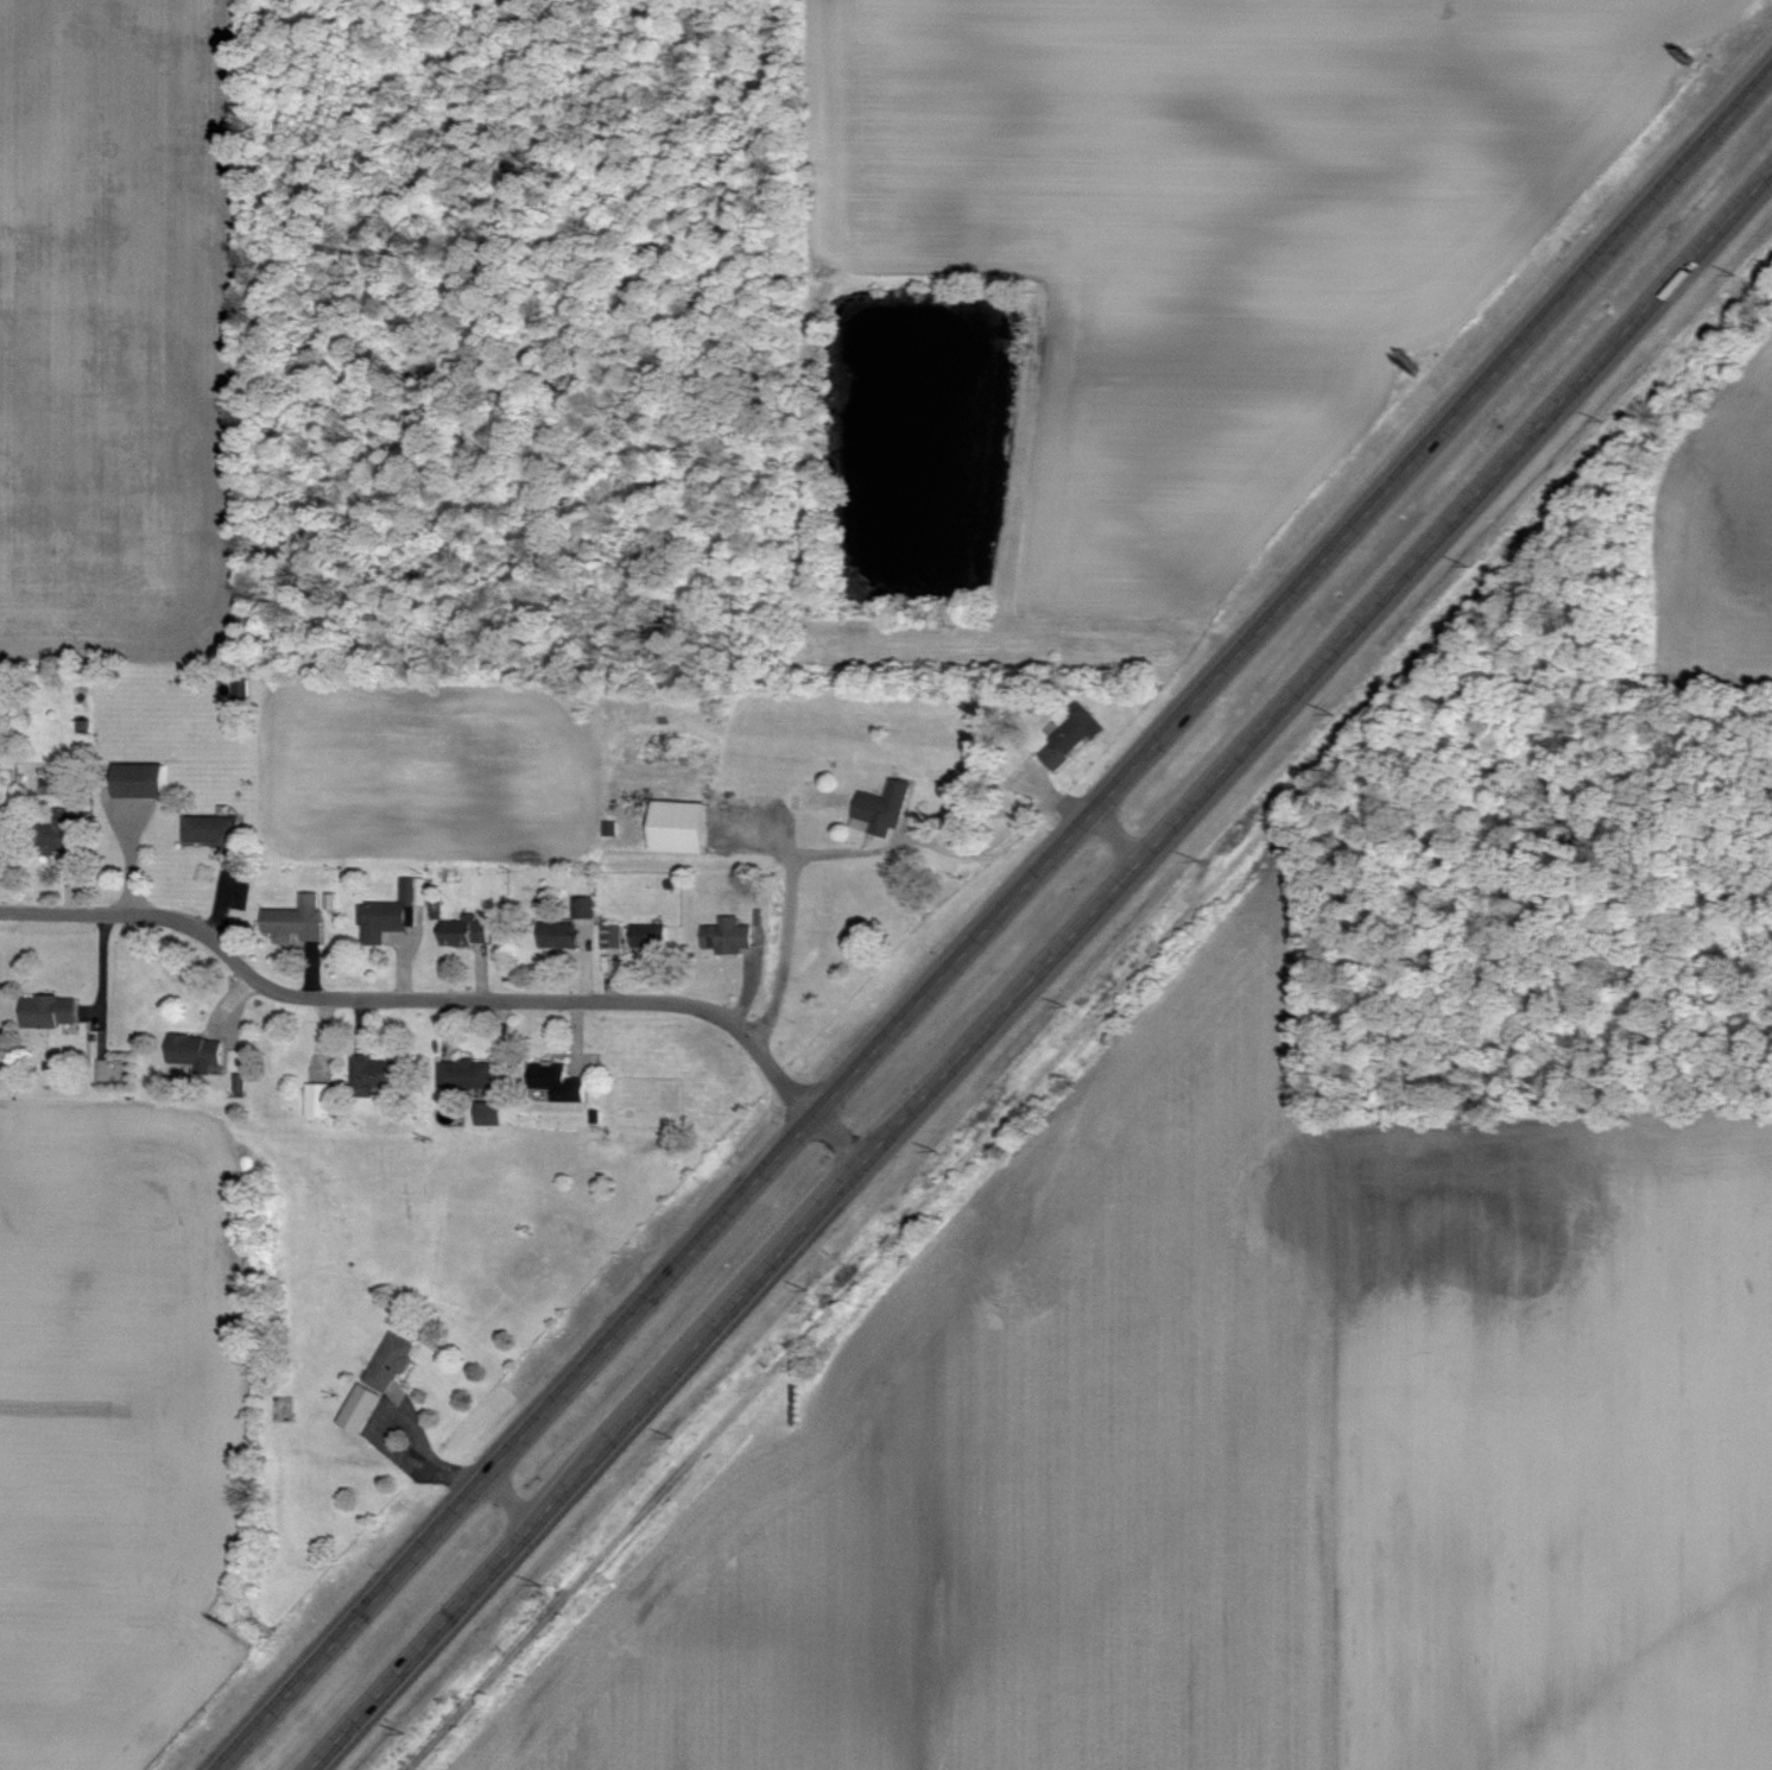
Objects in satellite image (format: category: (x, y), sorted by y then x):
building: (1071, 737)
building: (138, 780)
building: (881, 809)
building: (677, 827)
building: (208, 830)
building: (58, 835)
road: (1119, 835)
road: (857, 849)
building: (583, 908)
building: (390, 912)
building: (295, 921)
road: (993, 921)
building: (464, 933)
building: (556, 935)
building: (613, 936)
building: (726, 936)
building: (647, 937)
road: (1042, 969)
road: (418, 999)
building: (48, 1012)
building: (192, 1051)
building: (368, 1075)
building: (464, 1075)
building: (238, 1082)
building: (556, 1082)
building: (318, 1100)
building: (488, 1114)
road: (841, 1138)
building: (388, 1364)
building: (359, 1410)
road: (510, 1499)

